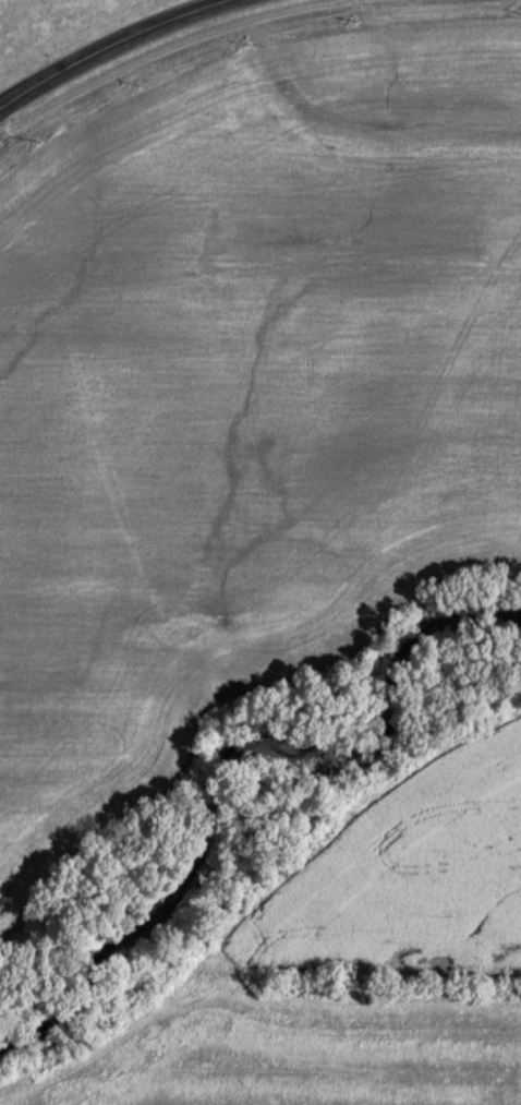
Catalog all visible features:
road: (113, 43)

